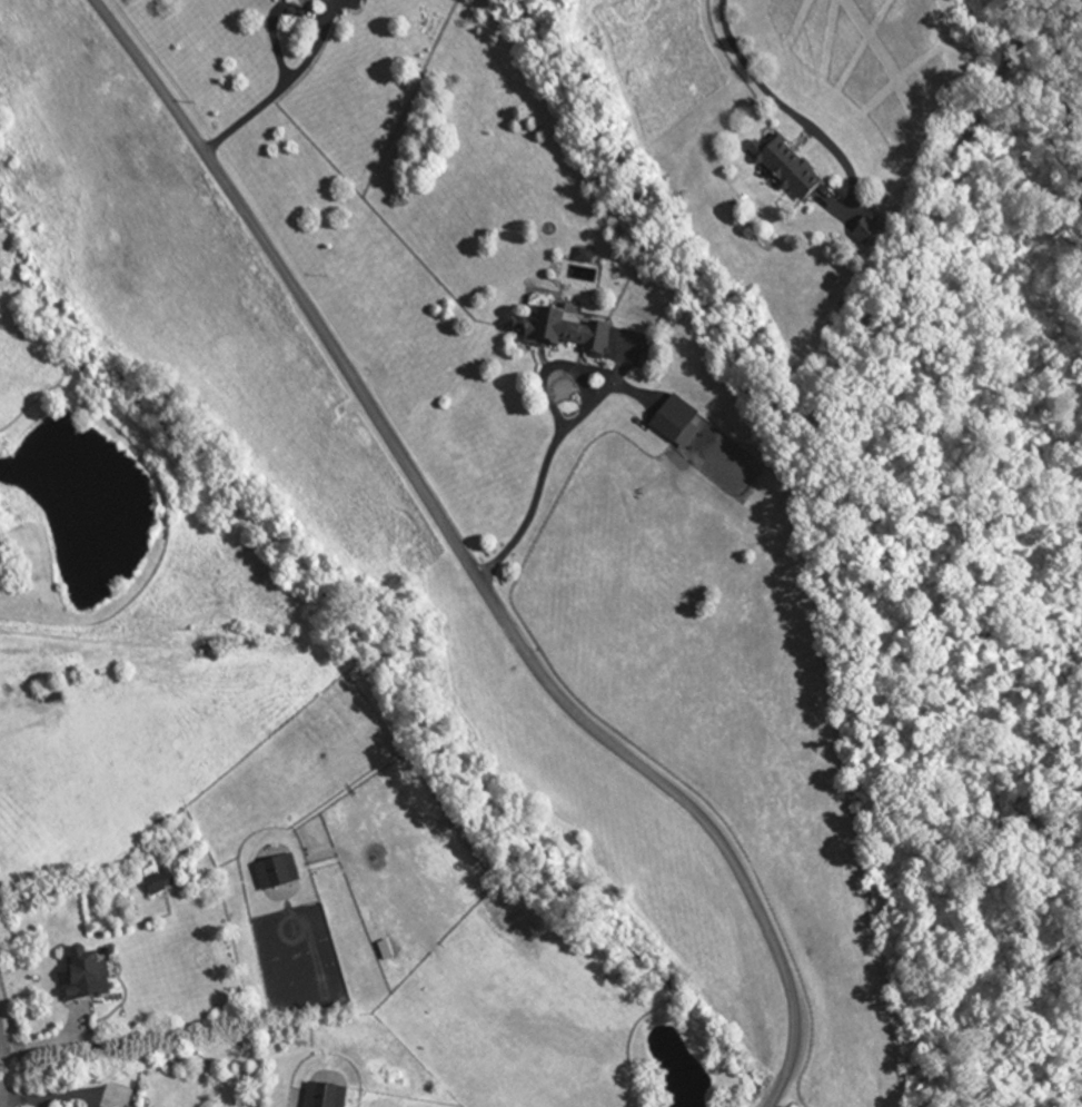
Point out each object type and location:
building: (308, 0)
building: (314, 0)
road: (275, 39)
road: (747, 71)
building: (784, 169)
building: (563, 335)
road: (783, 418)
building: (667, 426)
road: (563, 429)
road: (463, 559)
crop: (143, 704)
building: (274, 873)
building: (155, 883)
building: (317, 926)
building: (82, 977)
building: (320, 1097)

